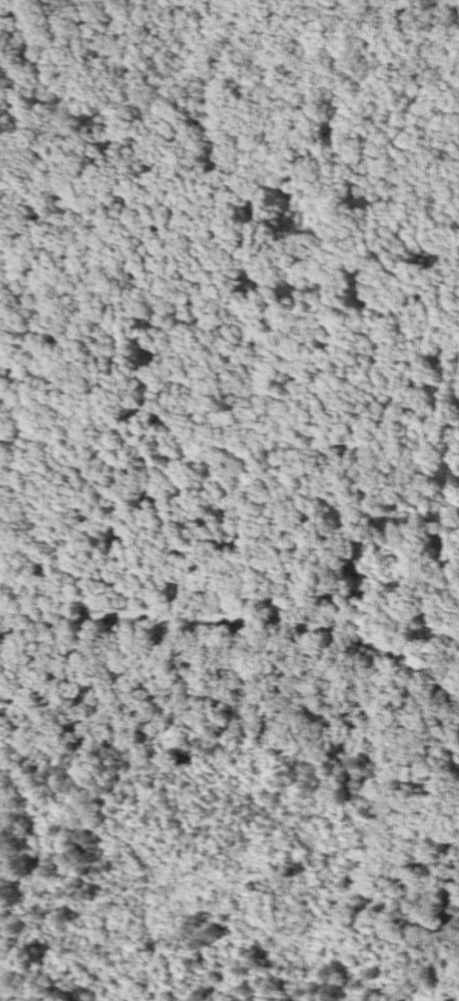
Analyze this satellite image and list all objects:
road: (237, 622)

